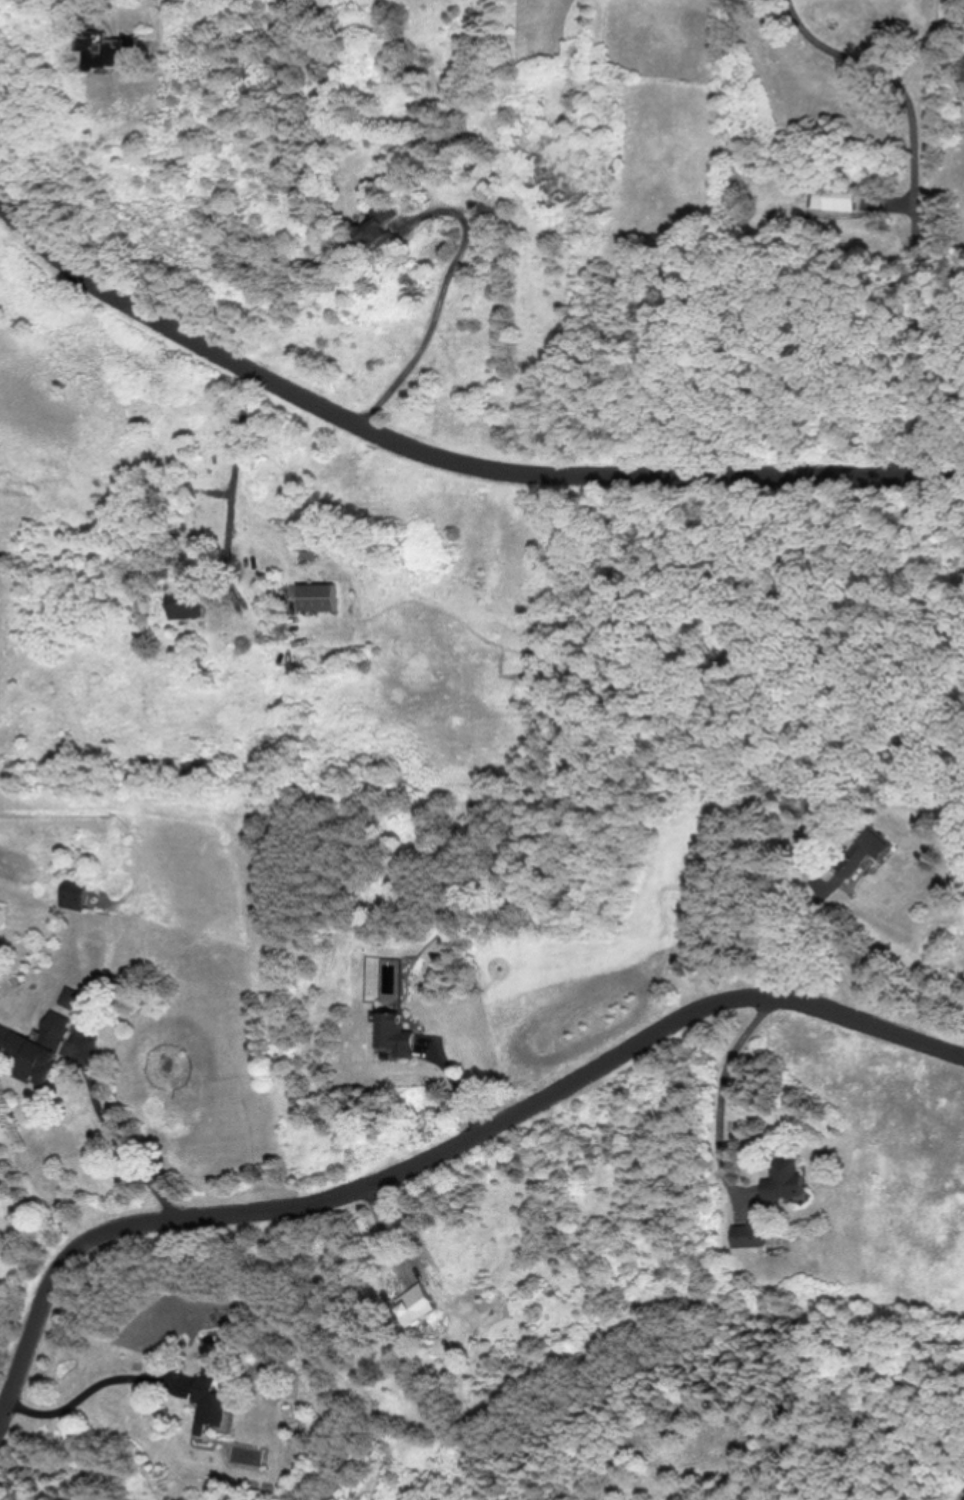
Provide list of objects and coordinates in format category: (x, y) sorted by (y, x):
building: (962, 67)
building: (834, 196)
road: (917, 207)
building: (377, 228)
road: (434, 317)
road: (446, 462)
road: (237, 475)
building: (142, 489)
building: (318, 595)
building: (182, 608)
building: (863, 852)
building: (74, 893)
building: (70, 998)
building: (390, 1033)
building: (36, 1047)
road: (722, 1096)
road: (112, 1144)
road: (444, 1151)
building: (783, 1178)
building: (749, 1233)
building: (415, 1304)
road: (83, 1394)
building: (208, 1403)

